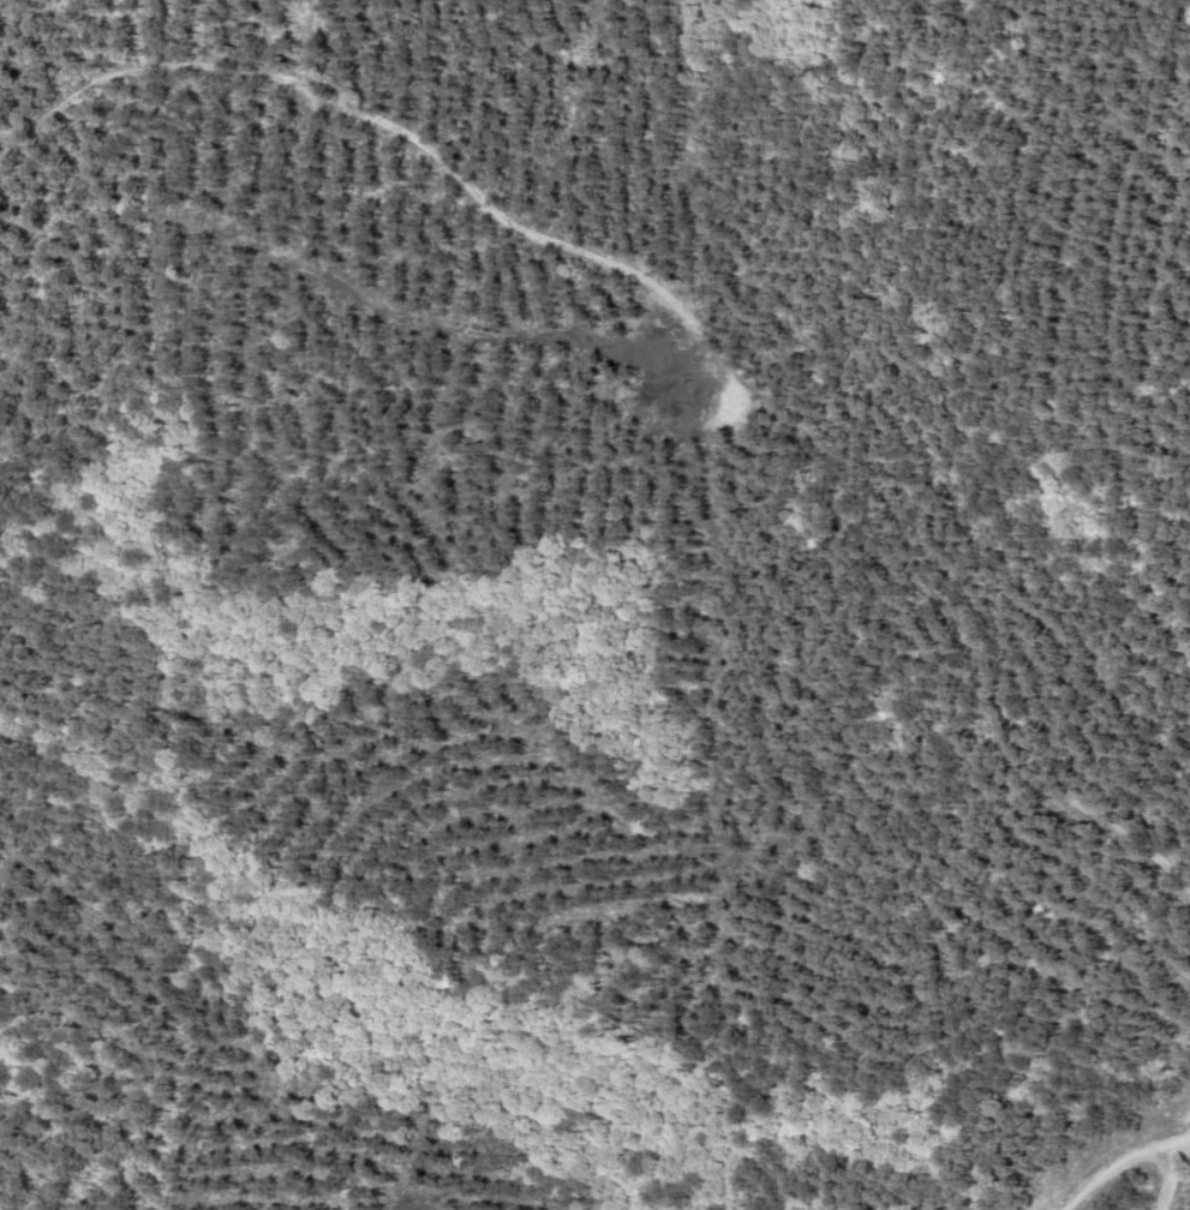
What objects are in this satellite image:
road: (1120, 1166)
road: (1166, 1174)

